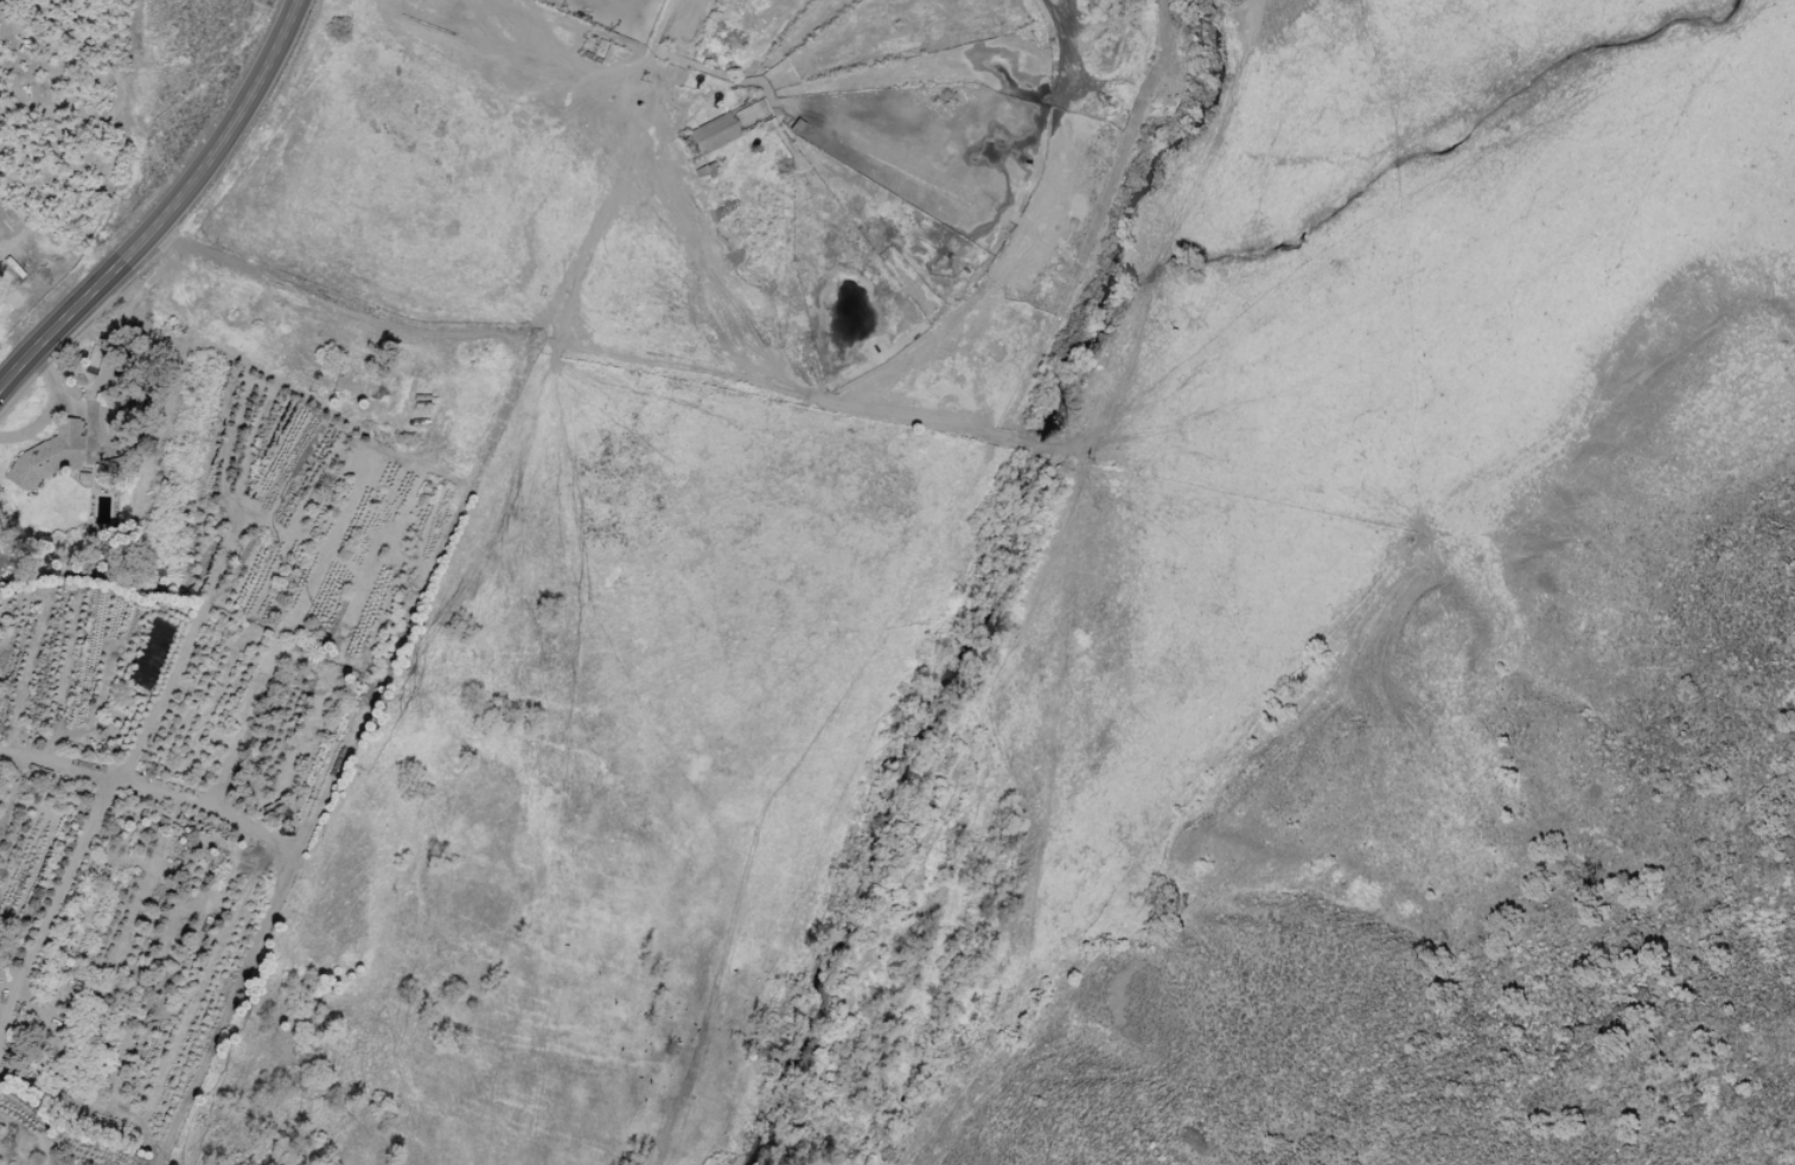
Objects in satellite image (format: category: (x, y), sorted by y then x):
building: (707, 136)
road: (168, 207)
road: (516, 332)
road: (119, 343)
road: (46, 408)
building: (46, 454)
road: (275, 877)

